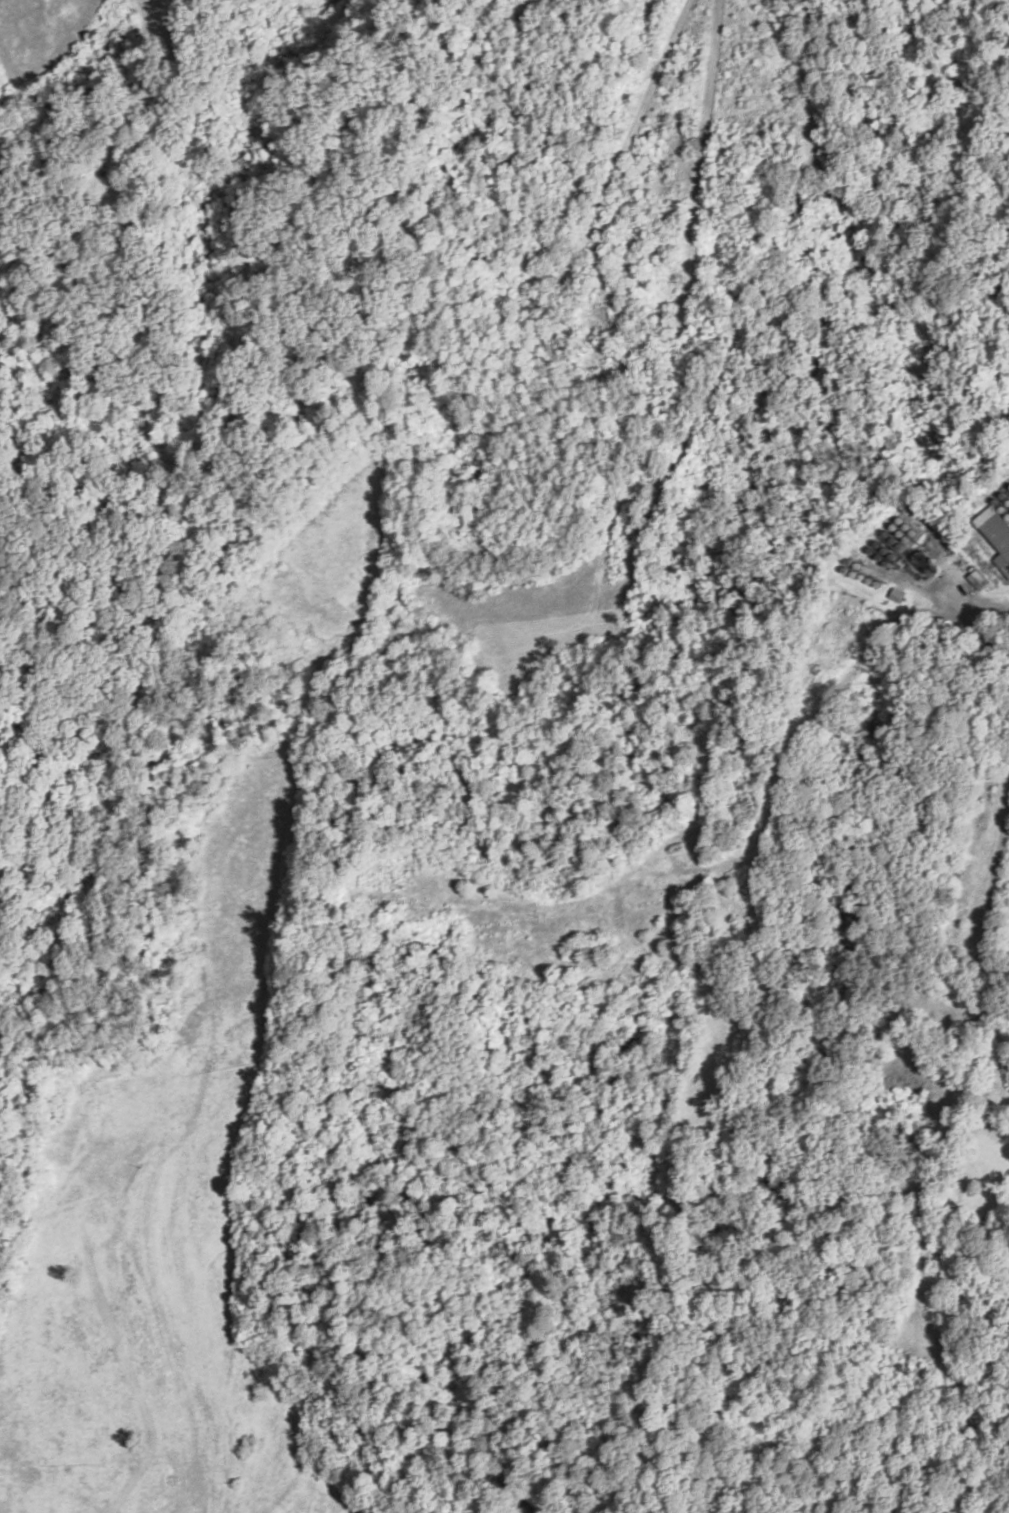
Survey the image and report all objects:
building: (997, 533)
building: (978, 580)
road: (395, 878)
building: (591, 948)

